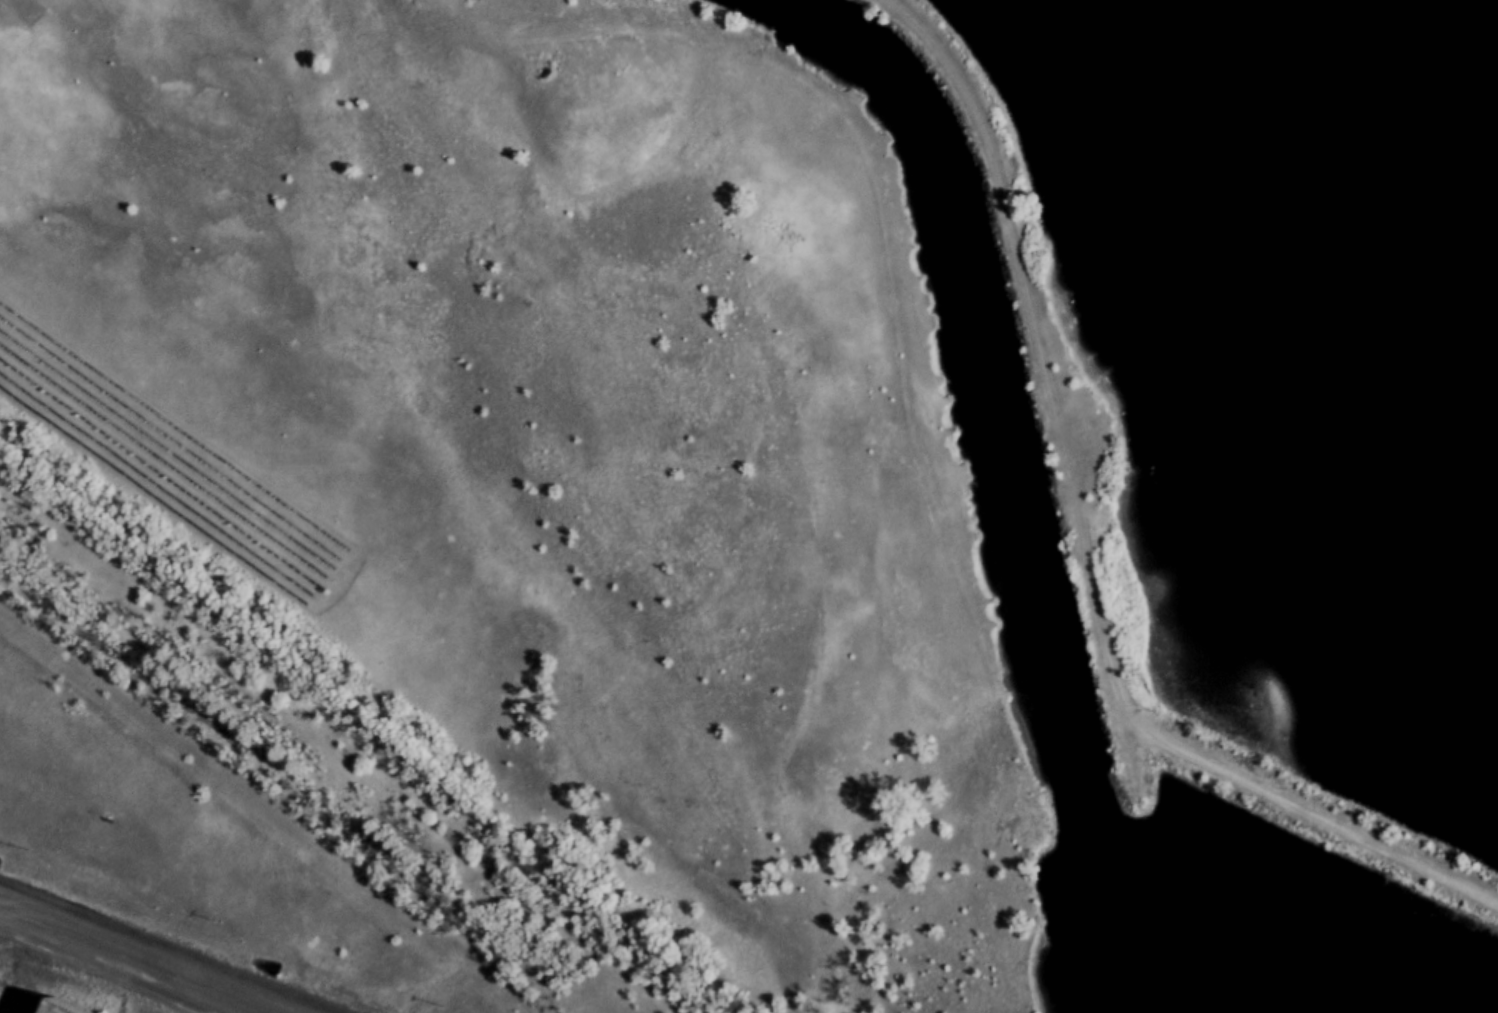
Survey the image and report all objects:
road: (1080, 548)
road: (122, 965)

